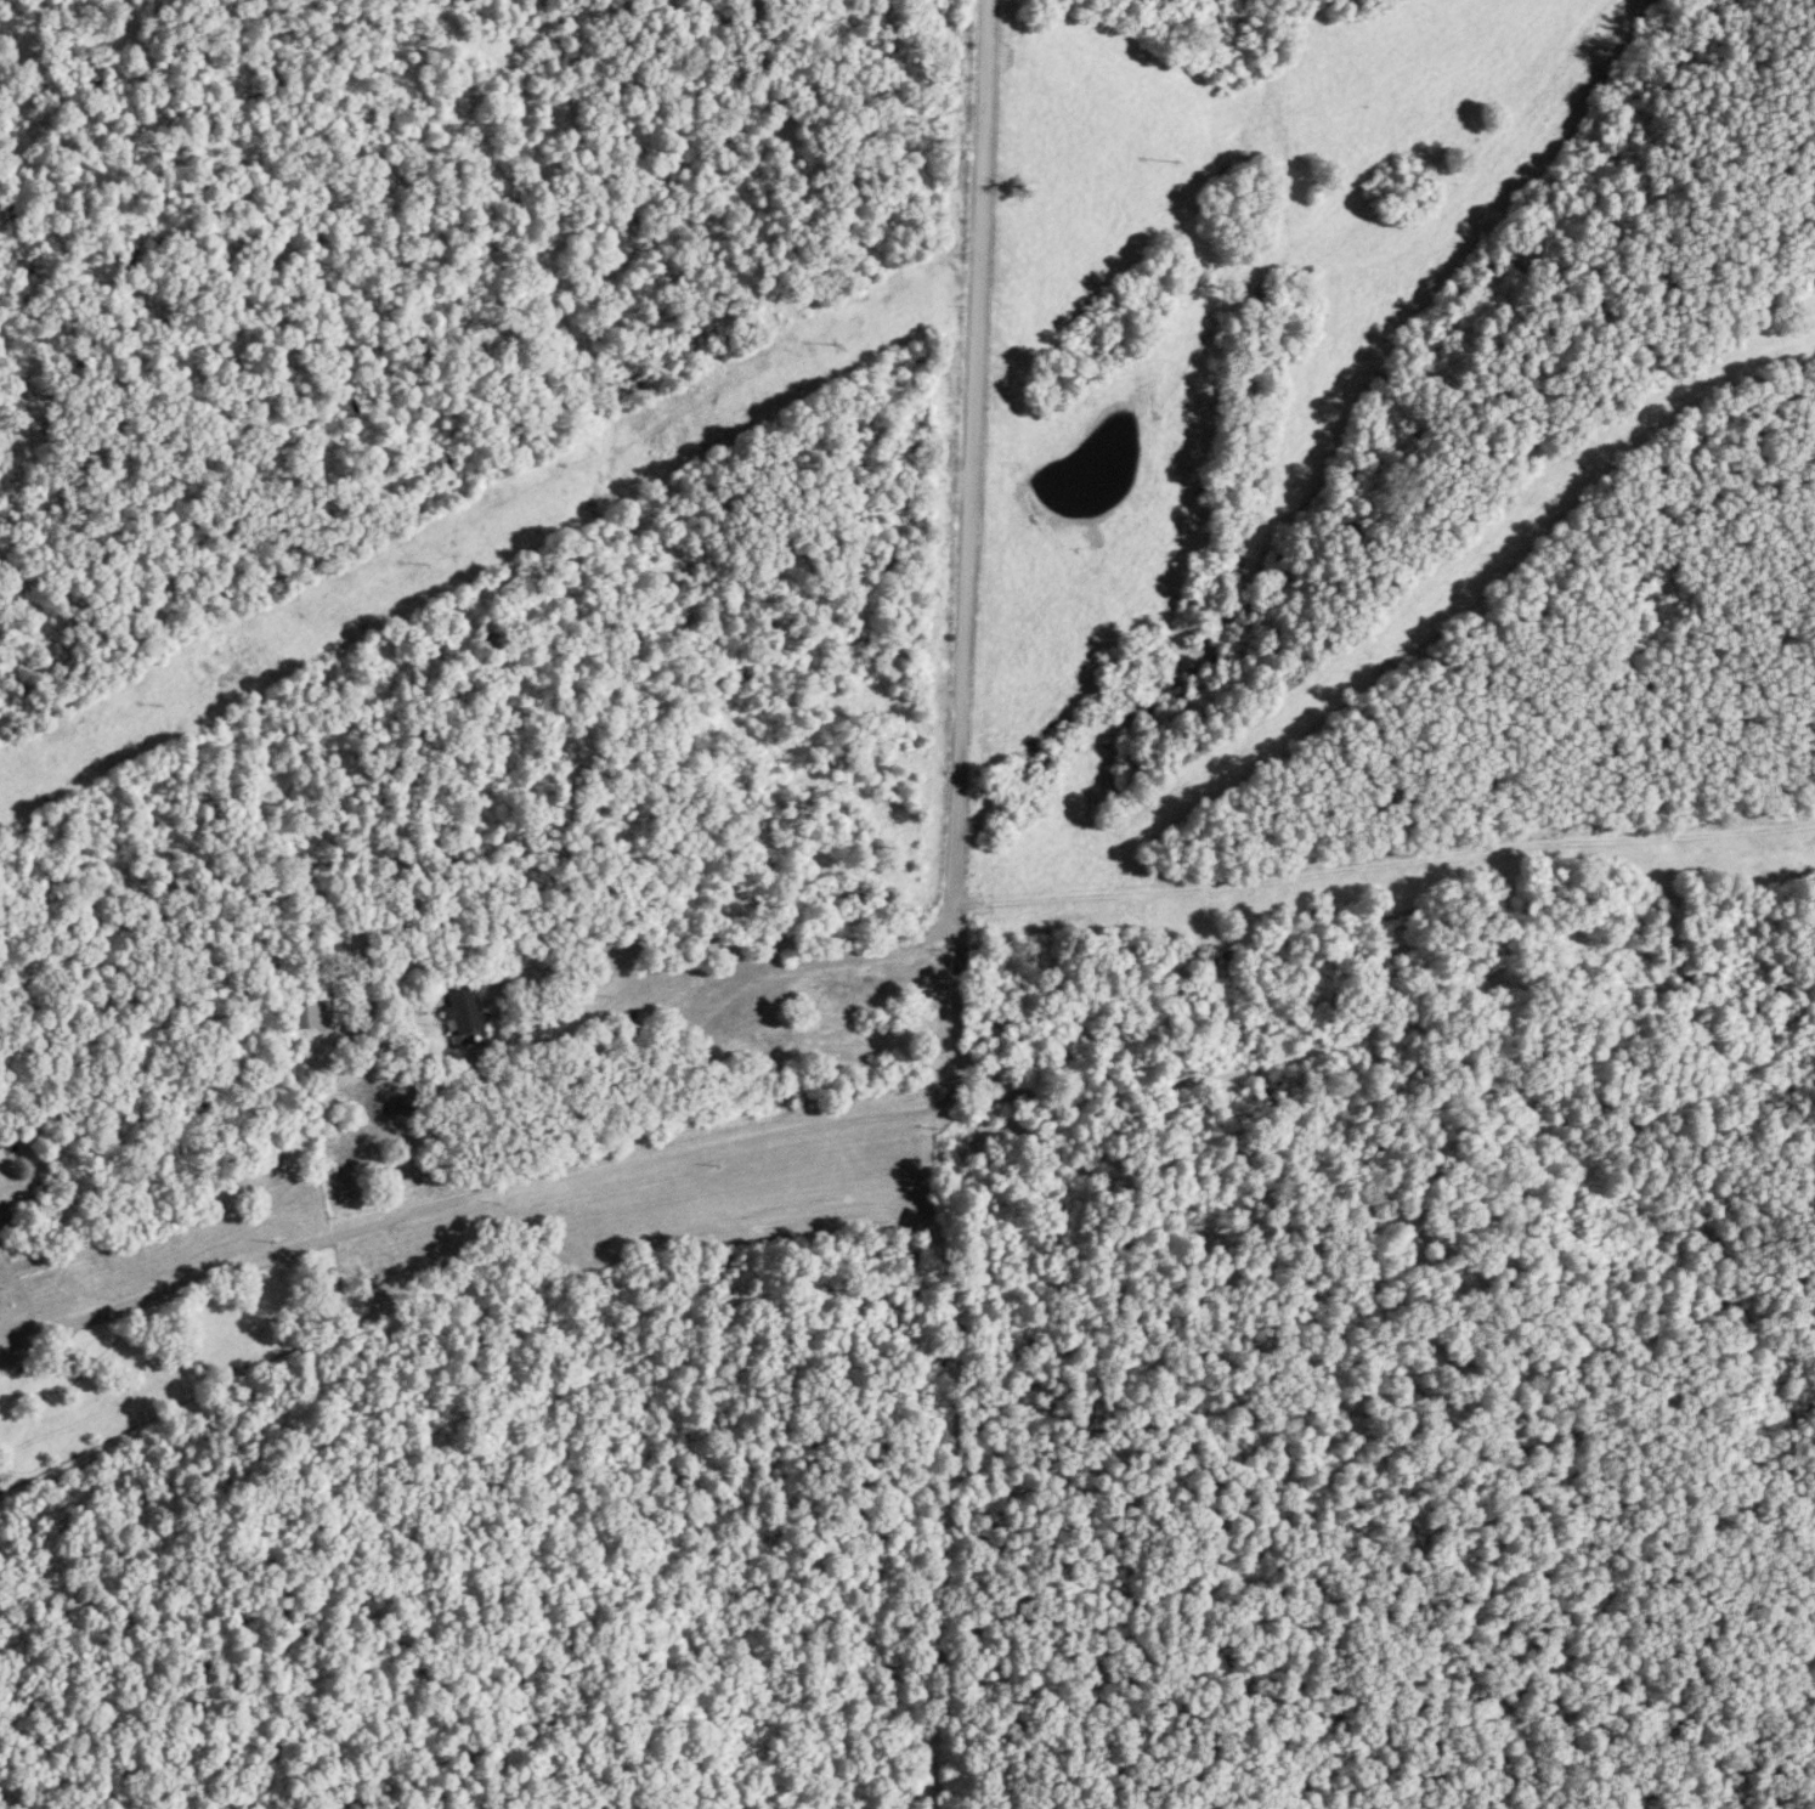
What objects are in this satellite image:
power tower: (1170, 163)
power tower: (827, 343)
power tower: (417, 566)
road: (962, 624)
power tower: (154, 706)
road: (555, 1010)
building: (301, 1014)
building: (460, 1018)
road: (566, 1178)
road: (1666, 1758)

